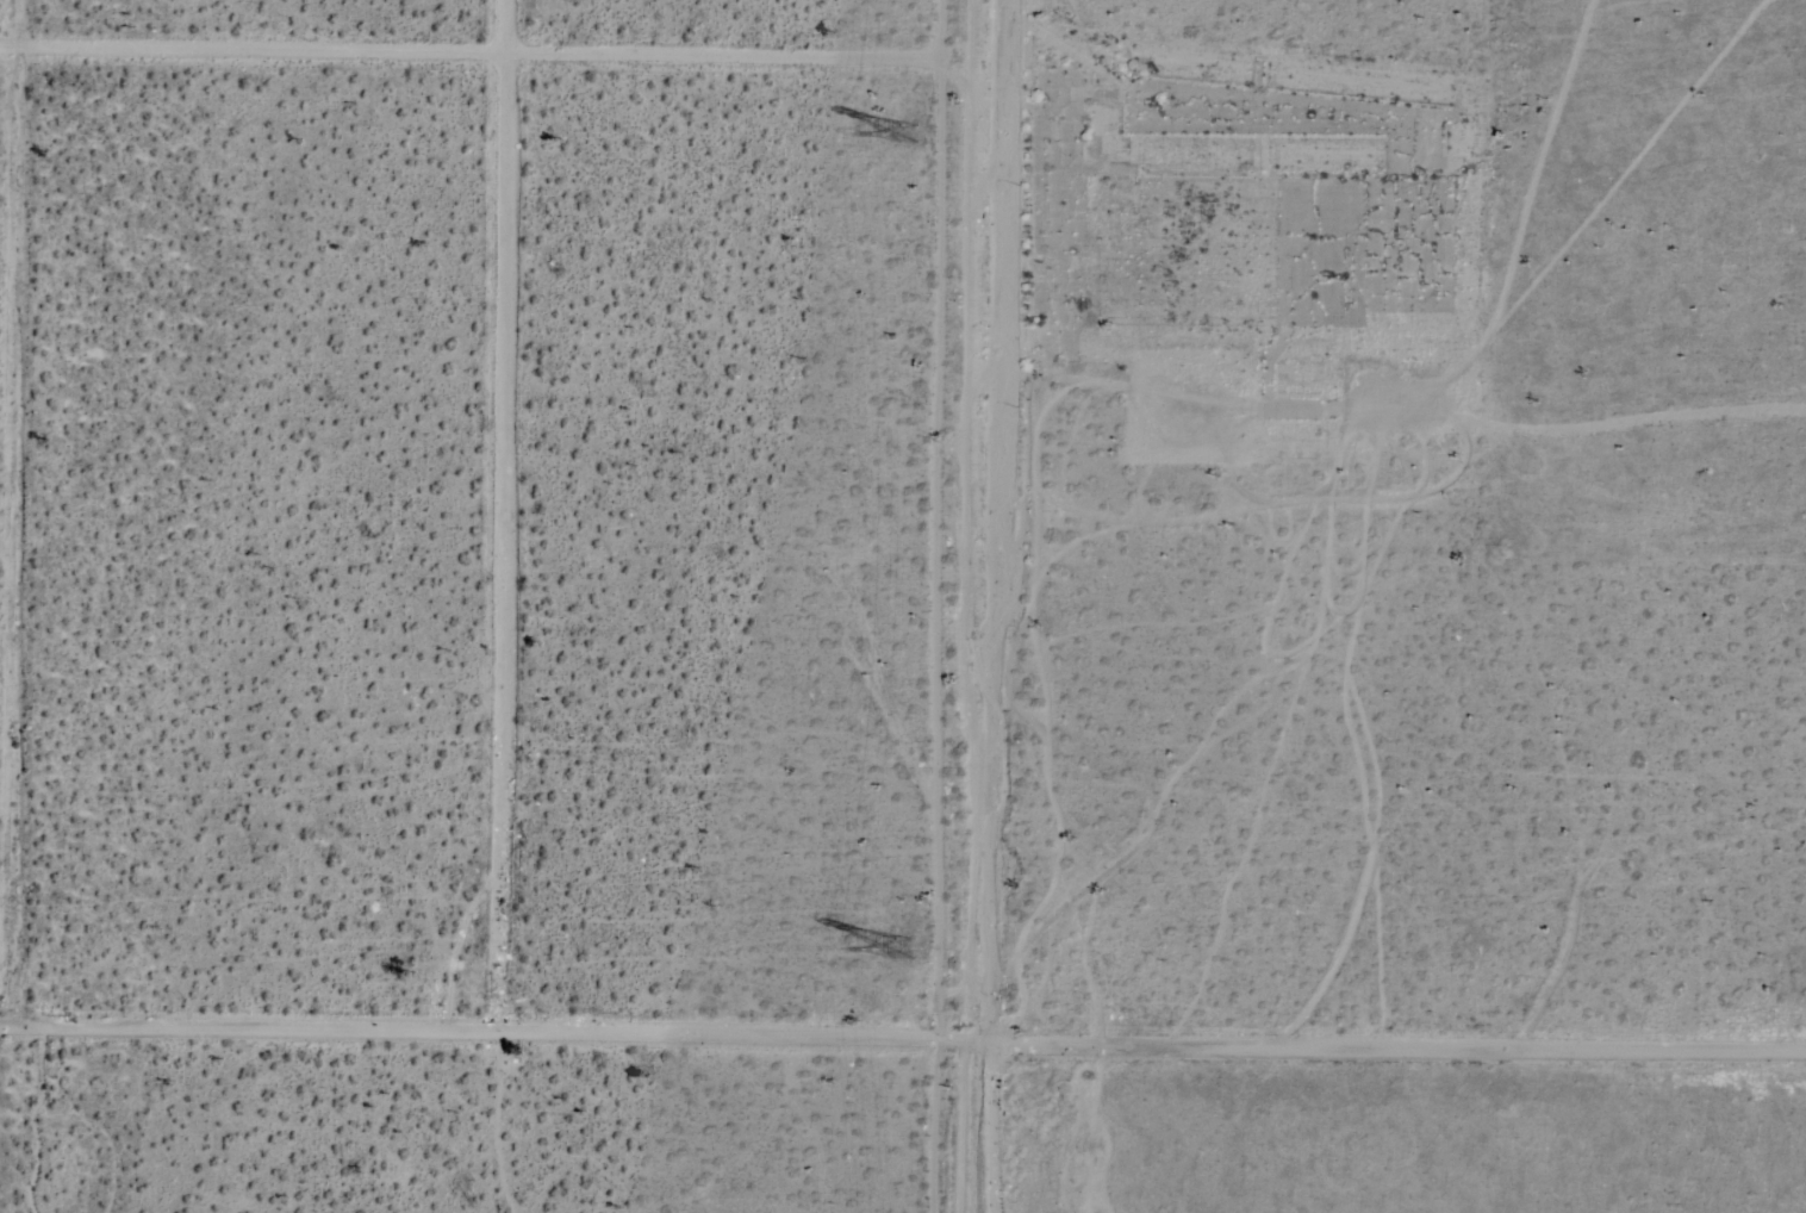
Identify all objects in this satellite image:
road: (504, 52)
power tower: (918, 133)
road: (1003, 276)
road: (23, 511)
road: (504, 514)
road: (991, 883)
power tower: (917, 947)
road: (902, 1039)

